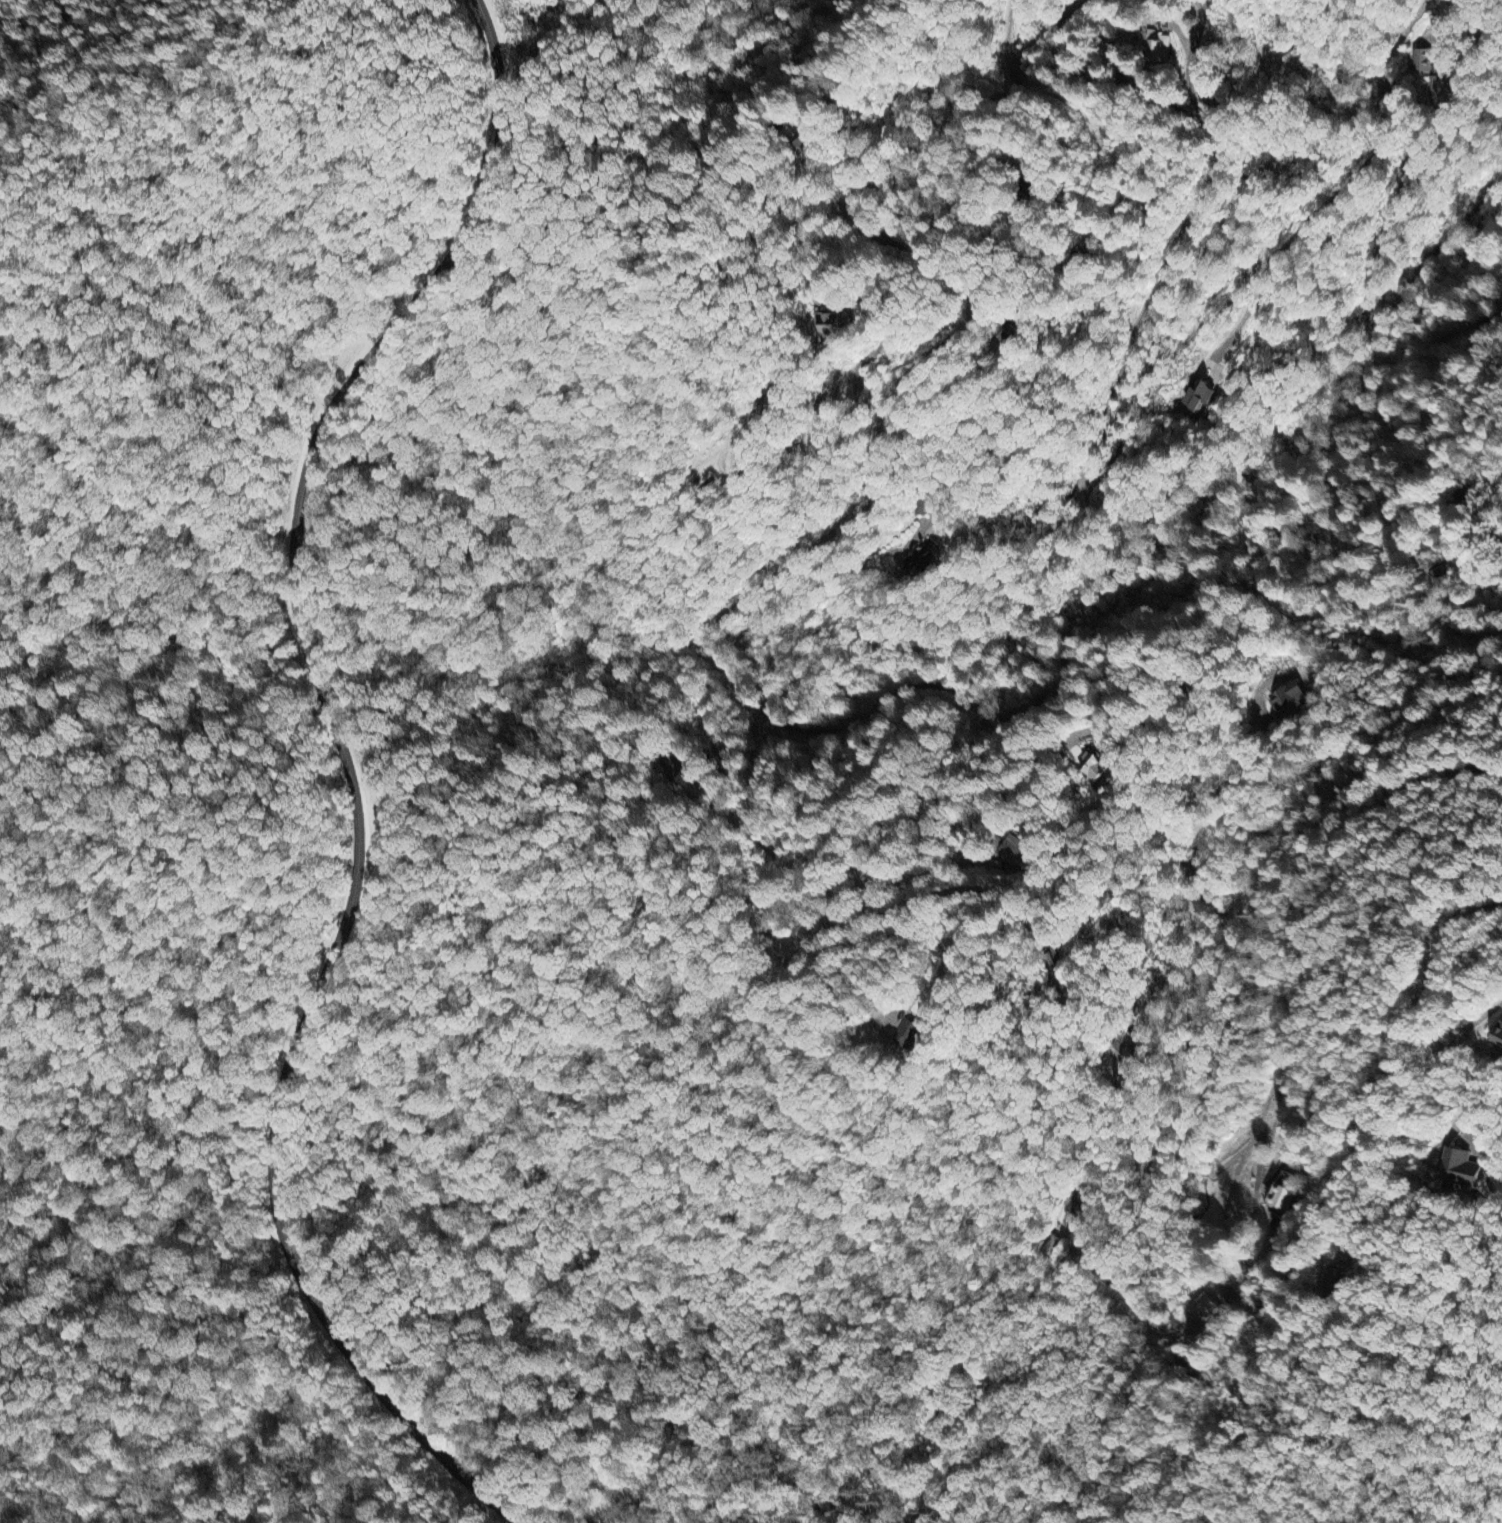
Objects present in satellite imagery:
building: (1157, 47)
road: (1025, 53)
building: (1433, 73)
road: (1381, 123)
road: (932, 217)
building: (832, 324)
building: (1201, 397)
building: (920, 559)
road: (1454, 635)
road: (712, 660)
road: (1032, 660)
building: (1290, 700)
building: (1093, 768)
road: (348, 777)
building: (1021, 851)
building: (1058, 964)
road: (1433, 989)
building: (905, 1034)
building: (1496, 1035)
building: (1460, 1170)
building: (1283, 1198)
road: (1315, 1233)
road: (849, 1276)
road: (9, 1516)

